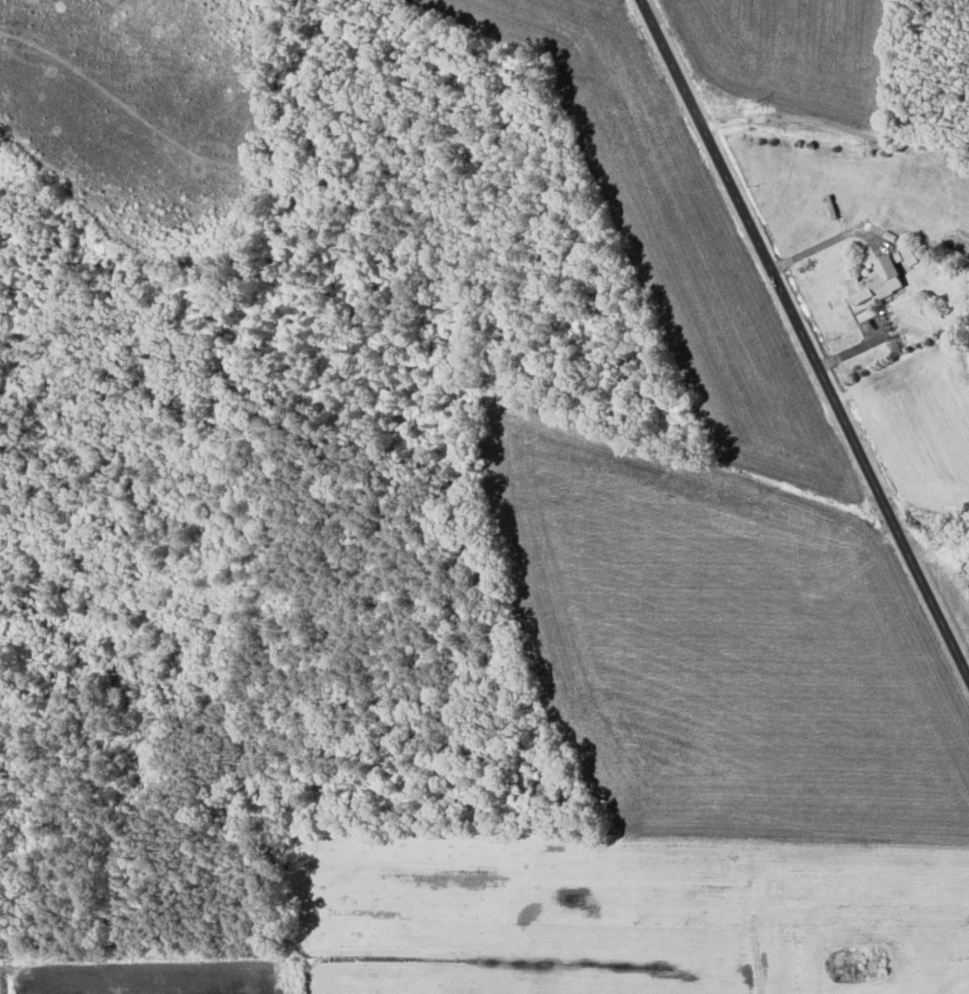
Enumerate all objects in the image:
power tower: (753, 103)
road: (829, 240)
building: (880, 279)
road: (807, 342)
building: (874, 968)

